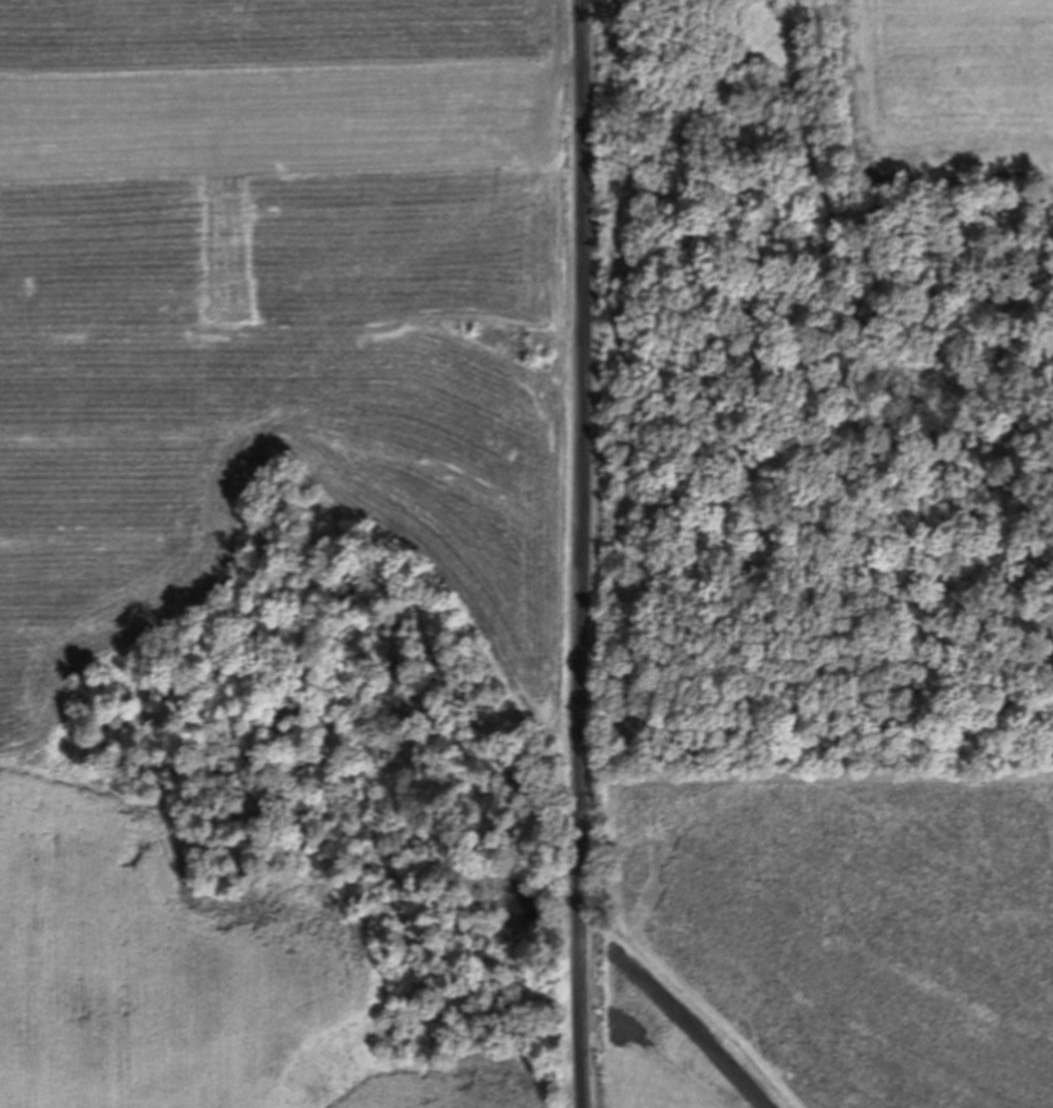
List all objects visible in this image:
road: (584, 553)

